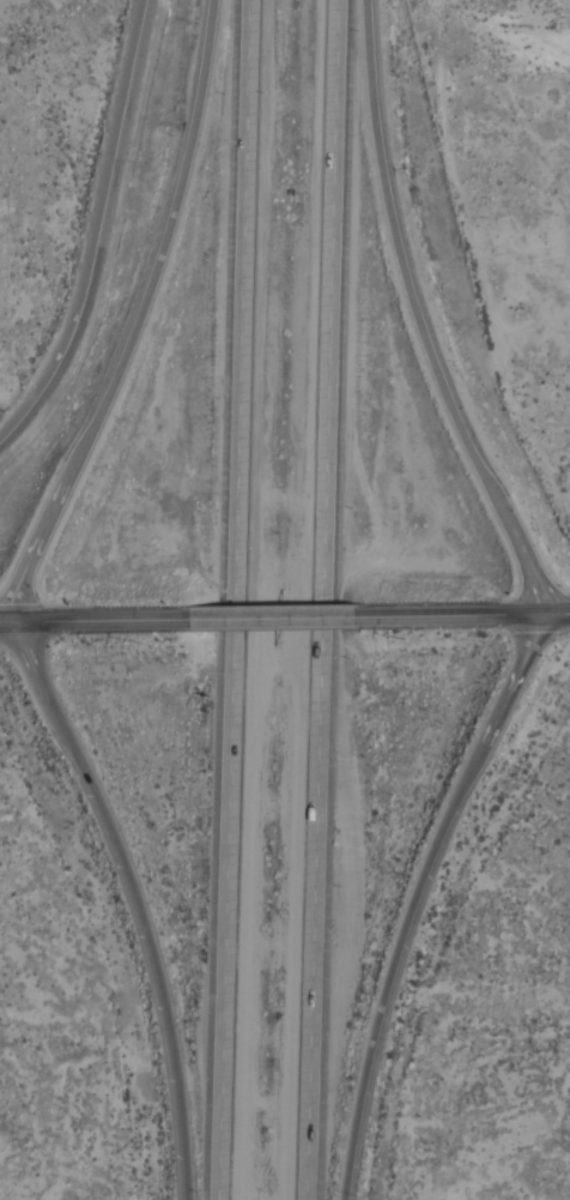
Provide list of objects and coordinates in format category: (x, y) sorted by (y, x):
road: (98, 231)
road: (418, 318)
road: (139, 319)
road: (232, 599)
road: (320, 599)
road: (556, 614)
road: (450, 616)
road: (277, 617)
road: (97, 620)
road: (417, 898)
road: (133, 901)

